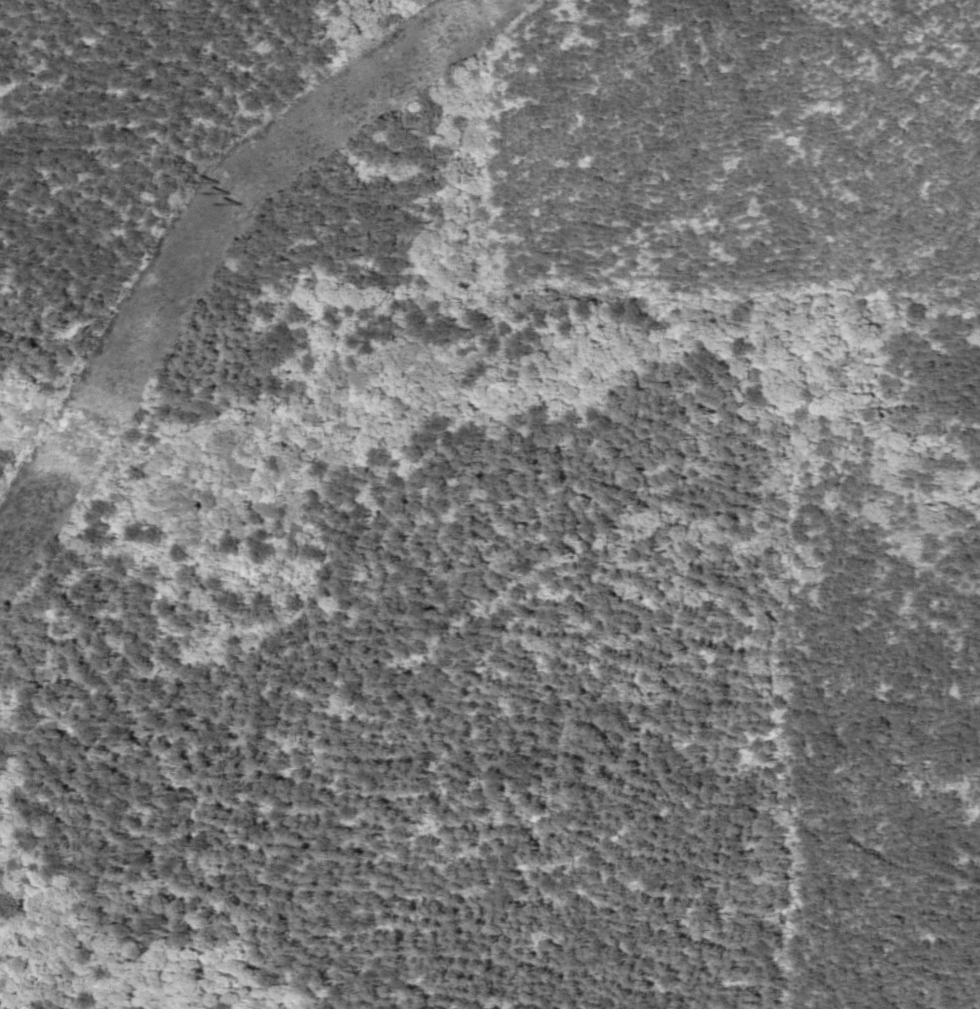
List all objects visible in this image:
power tower: (232, 196)

